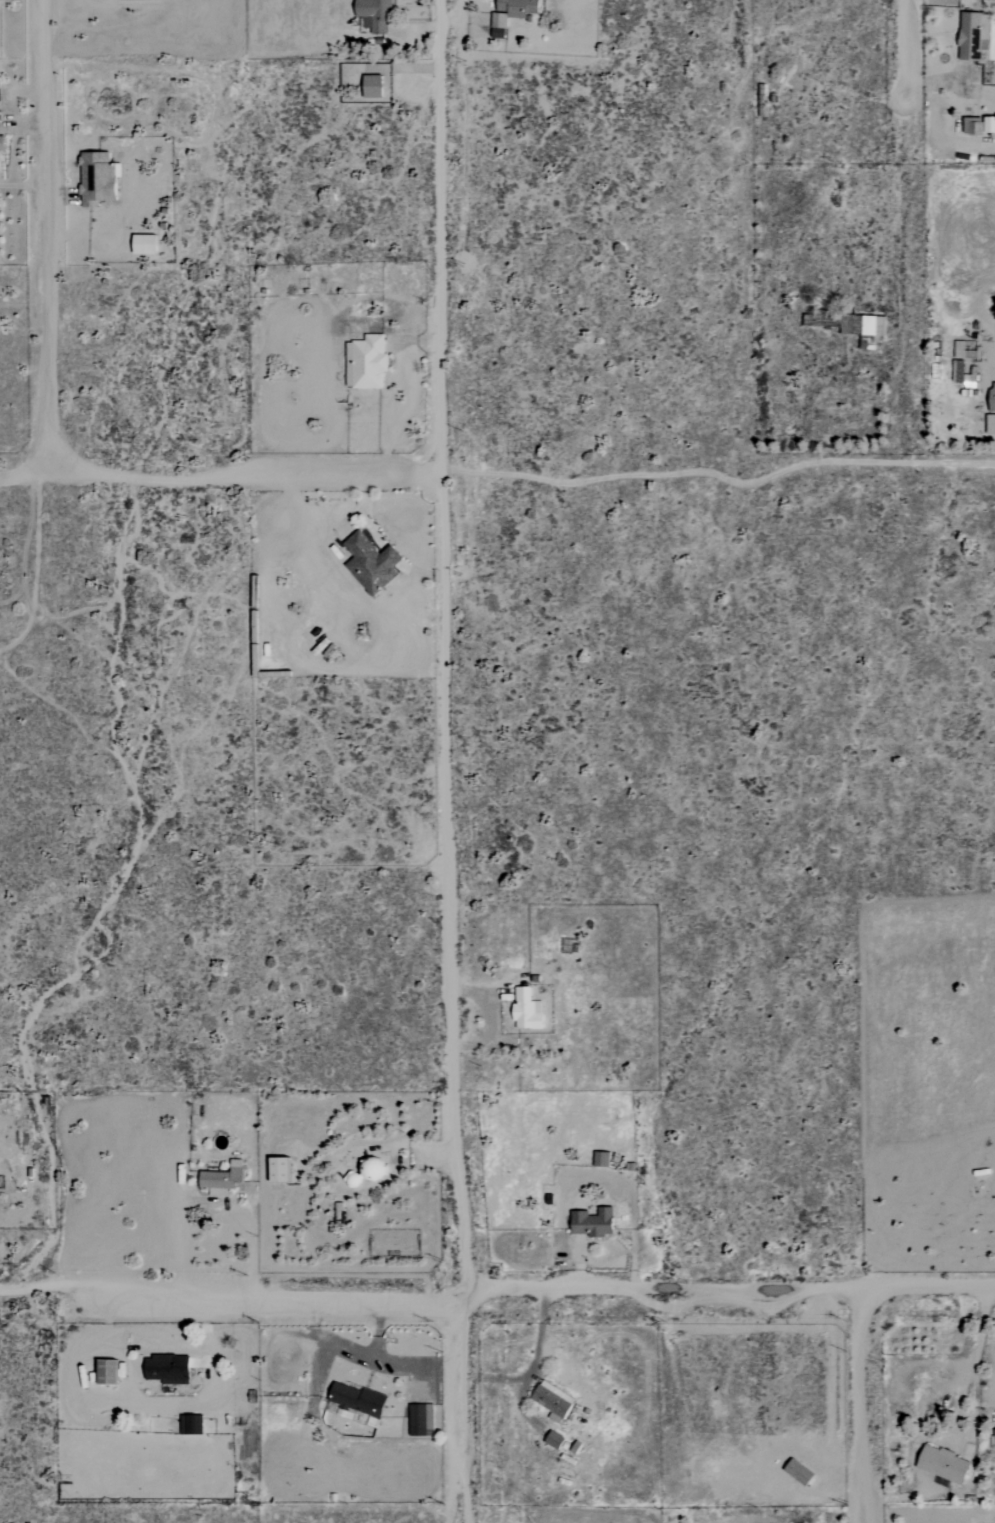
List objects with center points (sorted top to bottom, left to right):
building: (520, 8)
building: (971, 36)
road: (905, 61)
building: (0, 88)
building: (981, 126)
building: (3, 139)
road: (48, 237)
building: (865, 325)
building: (957, 371)
building: (991, 397)
building: (989, 424)
road: (500, 475)
road: (364, 513)
road: (390, 554)
building: (370, 563)
road: (417, 574)
road: (446, 761)
road: (489, 1008)
building: (525, 1010)
building: (220, 1178)
road: (211, 1201)
building: (590, 1222)
road: (496, 1291)
road: (539, 1332)
road: (974, 1360)
road: (994, 1393)
building: (550, 1398)
road: (861, 1405)
building: (992, 1437)
building: (552, 1440)
building: (941, 1463)

